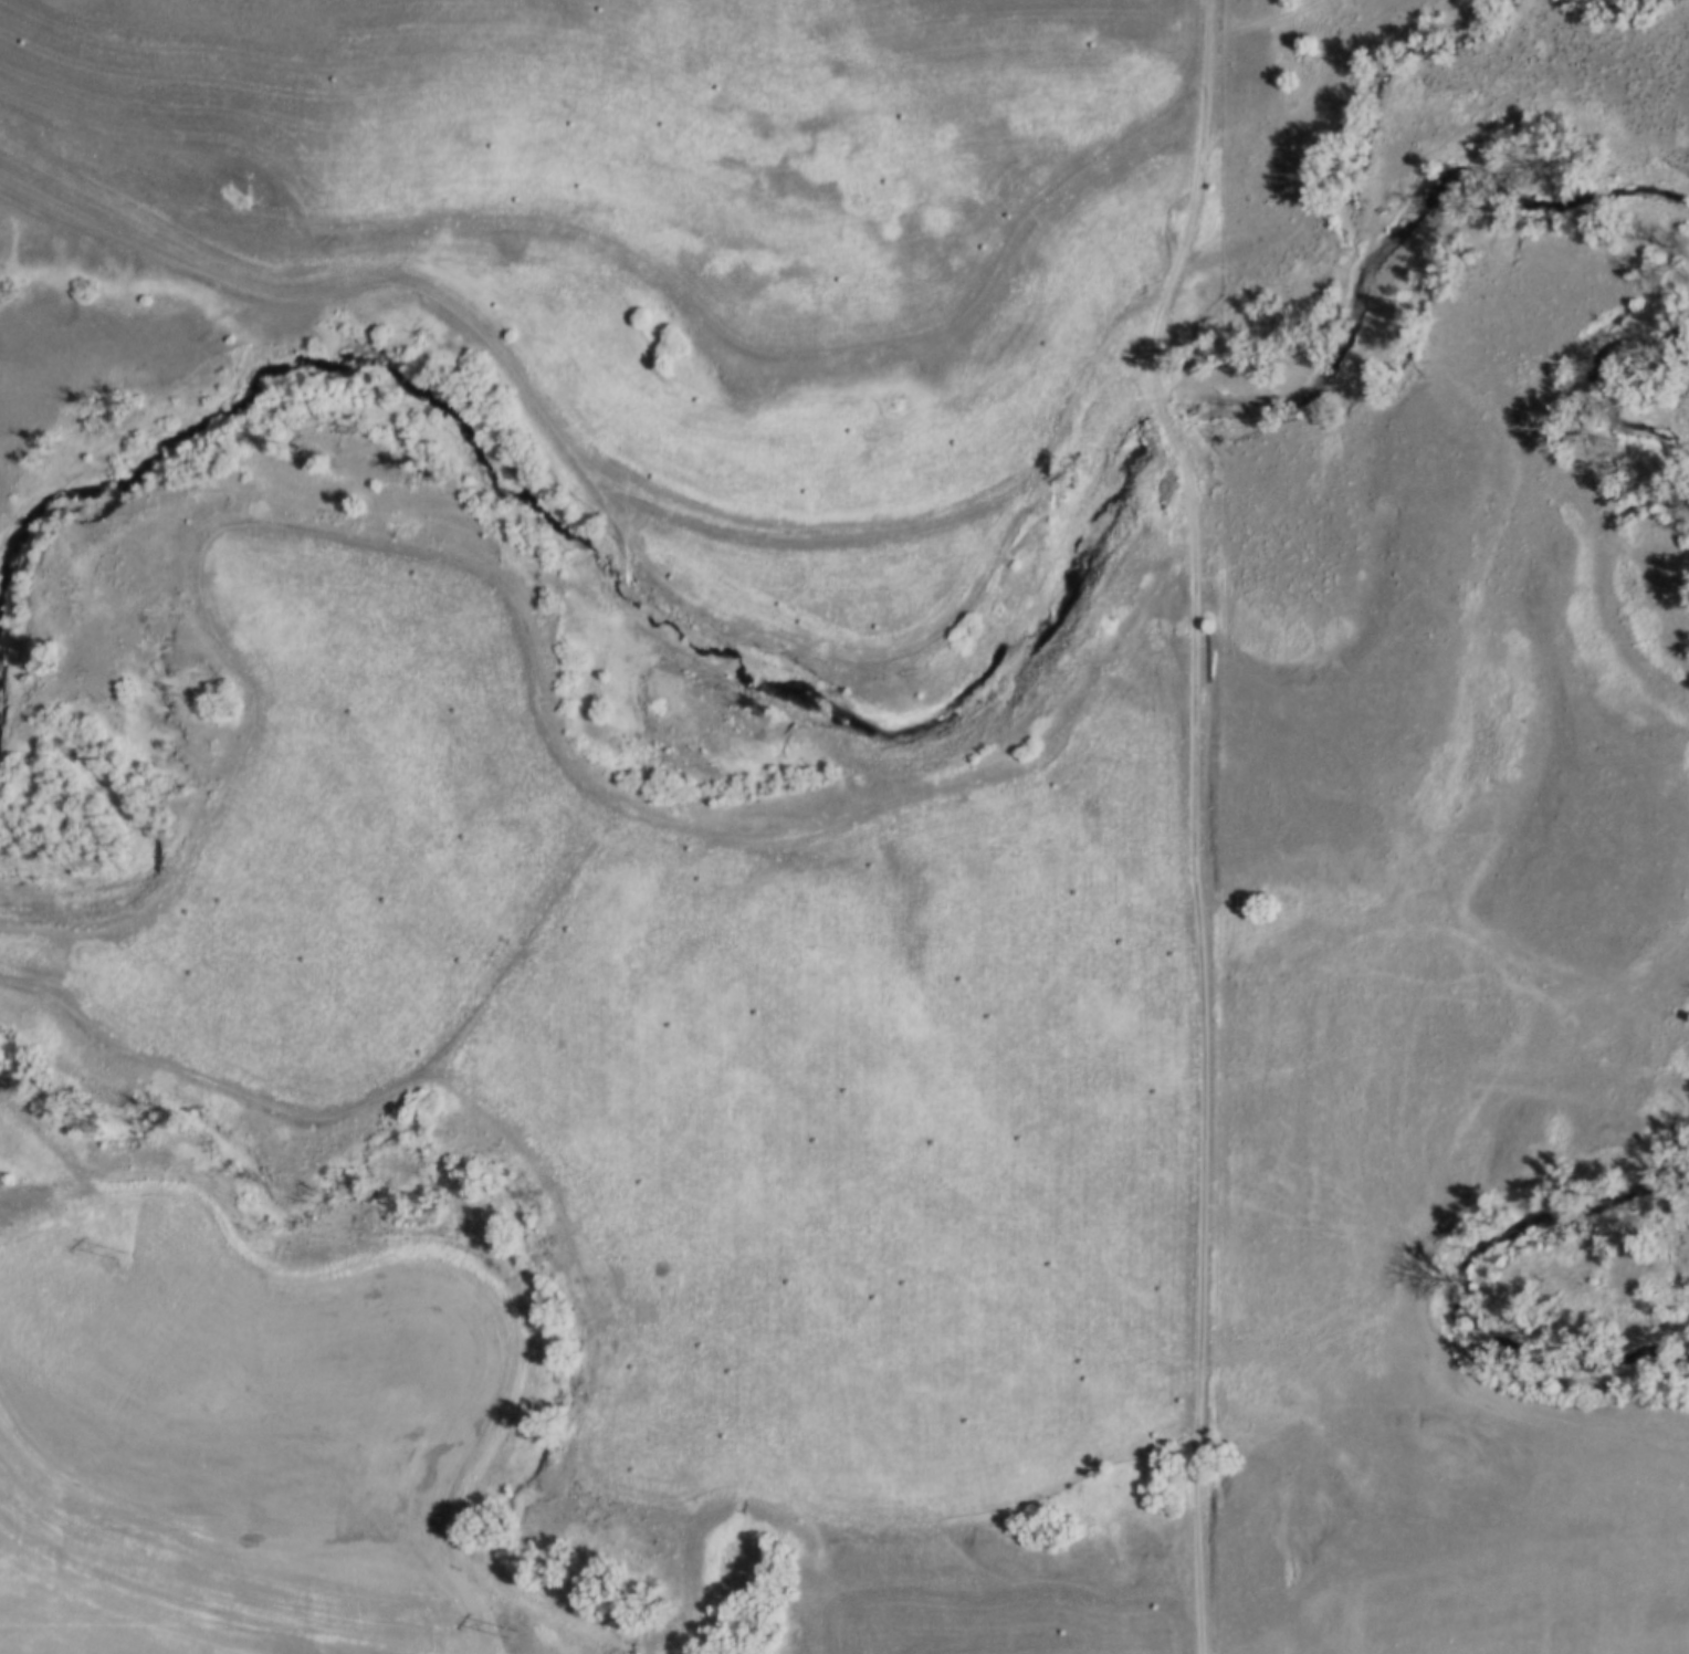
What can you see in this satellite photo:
road: (1193, 819)
road: (469, 1605)

